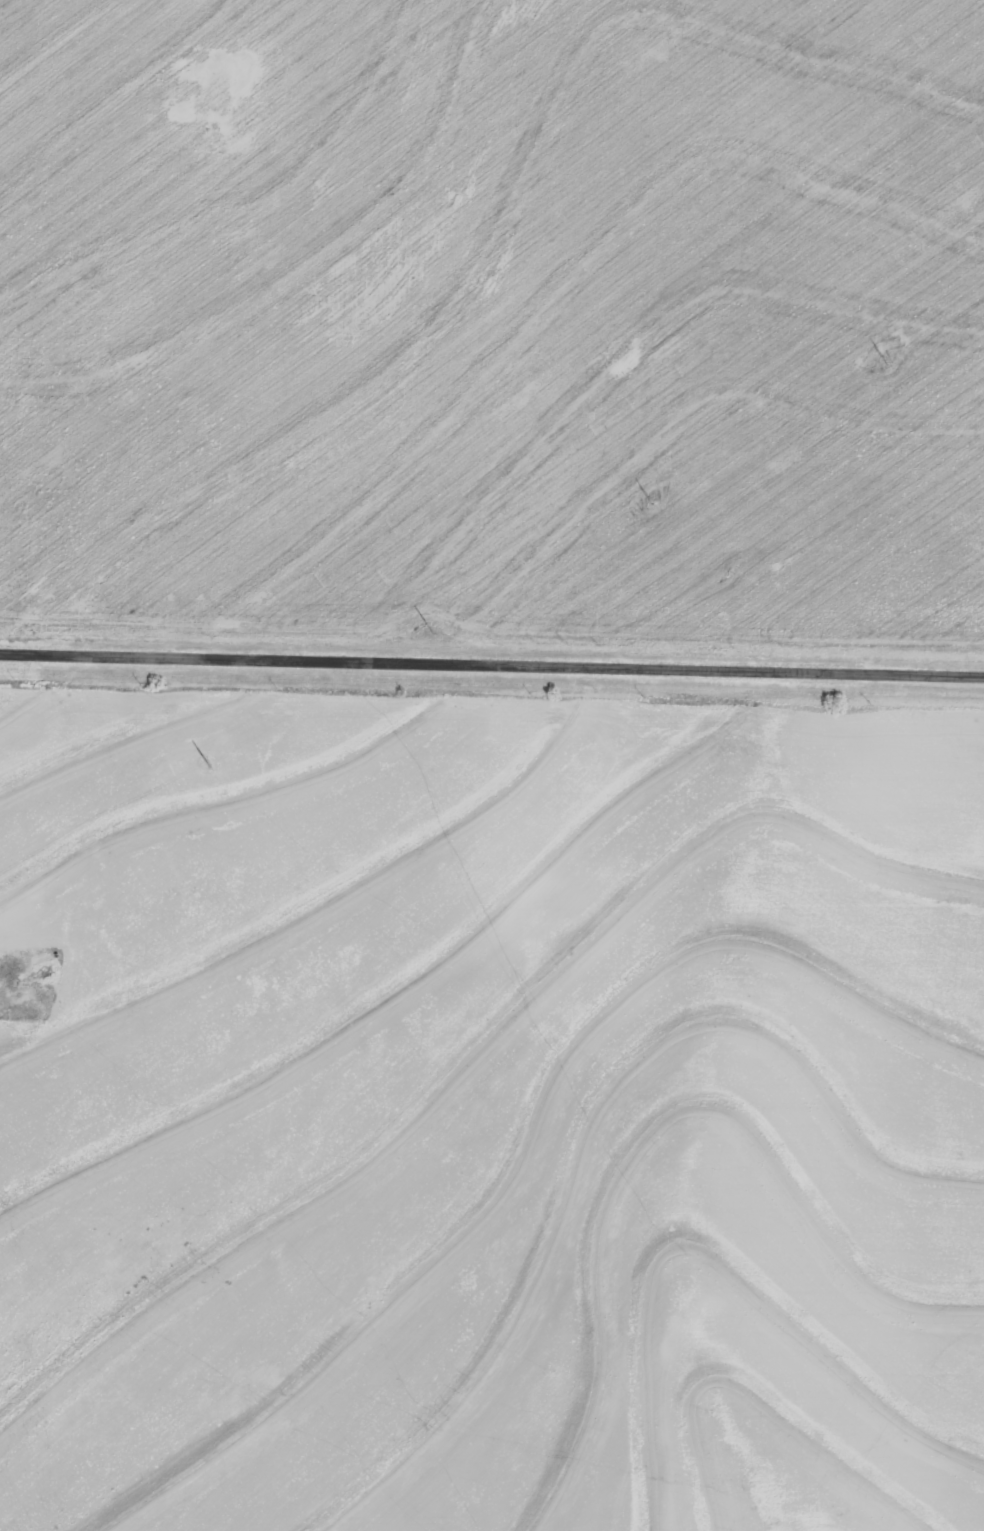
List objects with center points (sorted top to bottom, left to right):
power tower: (885, 365)
road: (57, 396)
power tower: (646, 503)
power tower: (429, 634)
road: (491, 664)
power tower: (205, 763)
road: (723, 1326)

